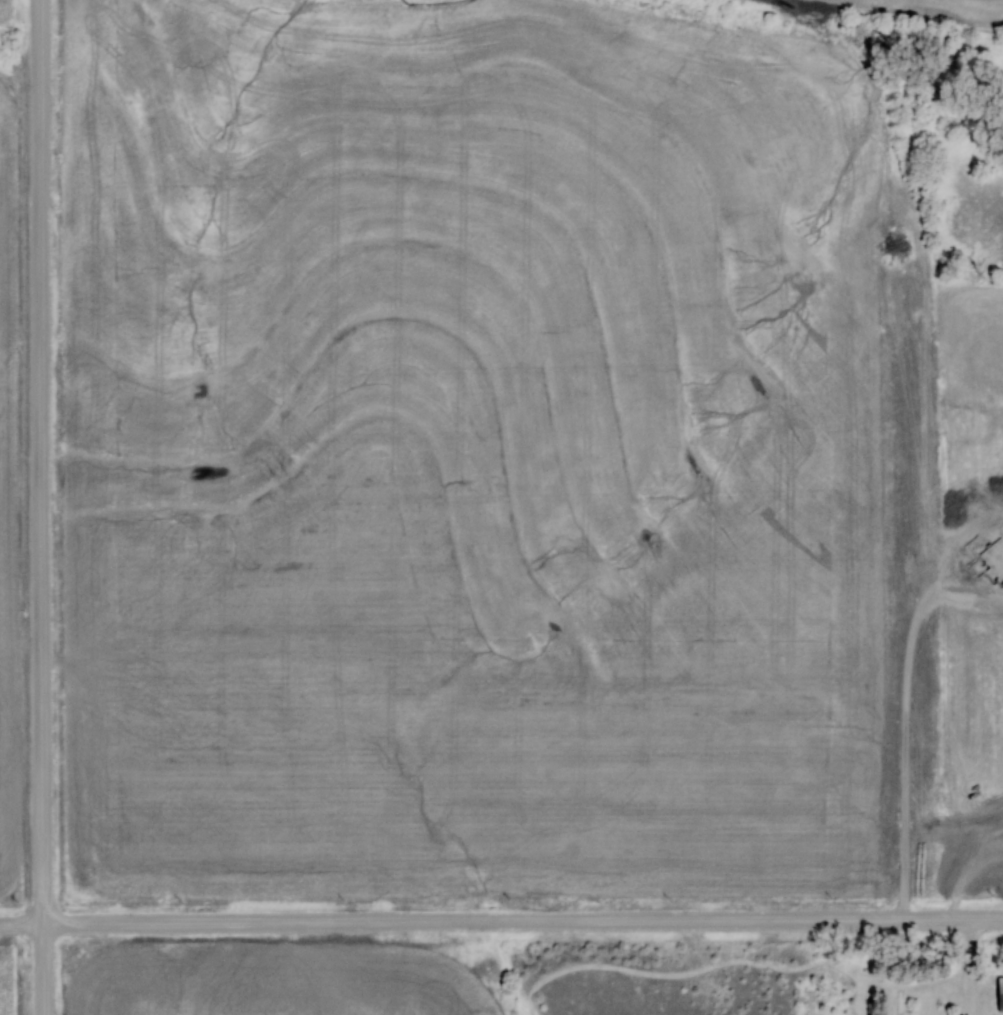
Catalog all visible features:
road: (40, 507)
road: (501, 921)
building: (998, 993)

